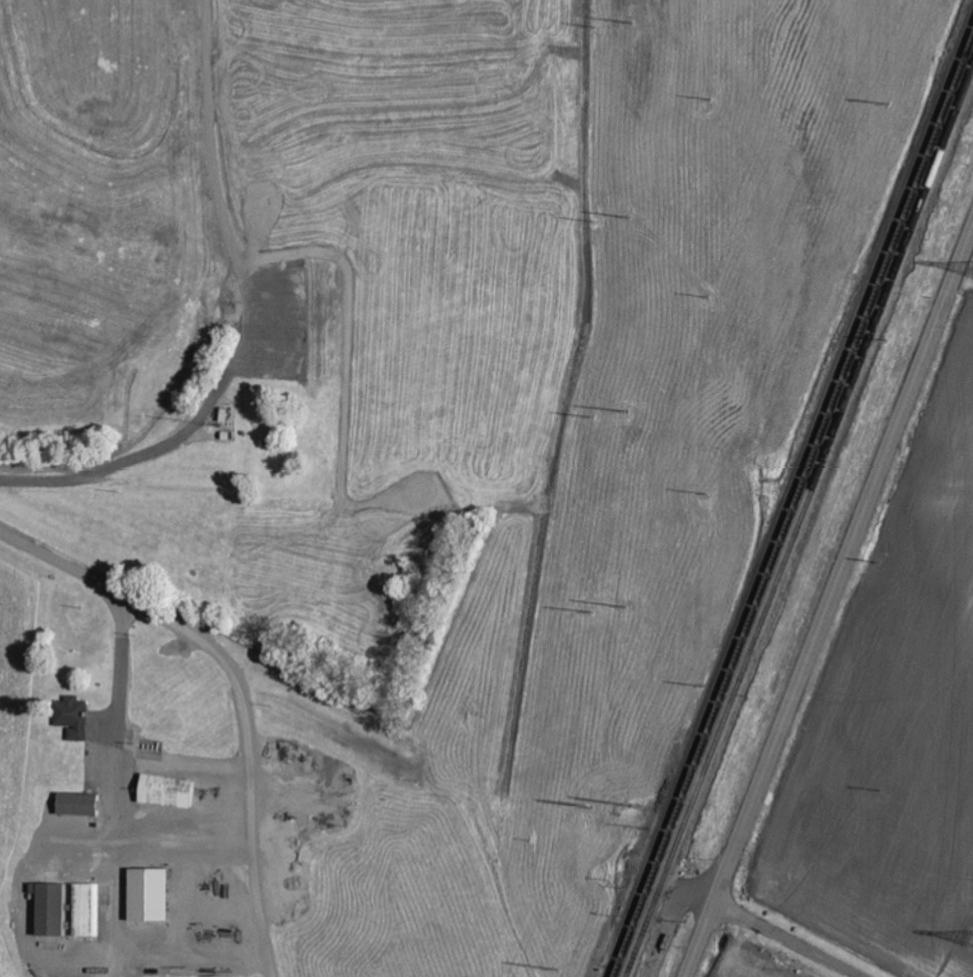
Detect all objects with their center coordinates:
railway: (778, 487)
road: (125, 595)
road: (830, 604)
building: (75, 717)
building: (169, 791)
building: (80, 804)
building: (151, 895)
building: (52, 909)
building: (88, 910)
road: (787, 940)

